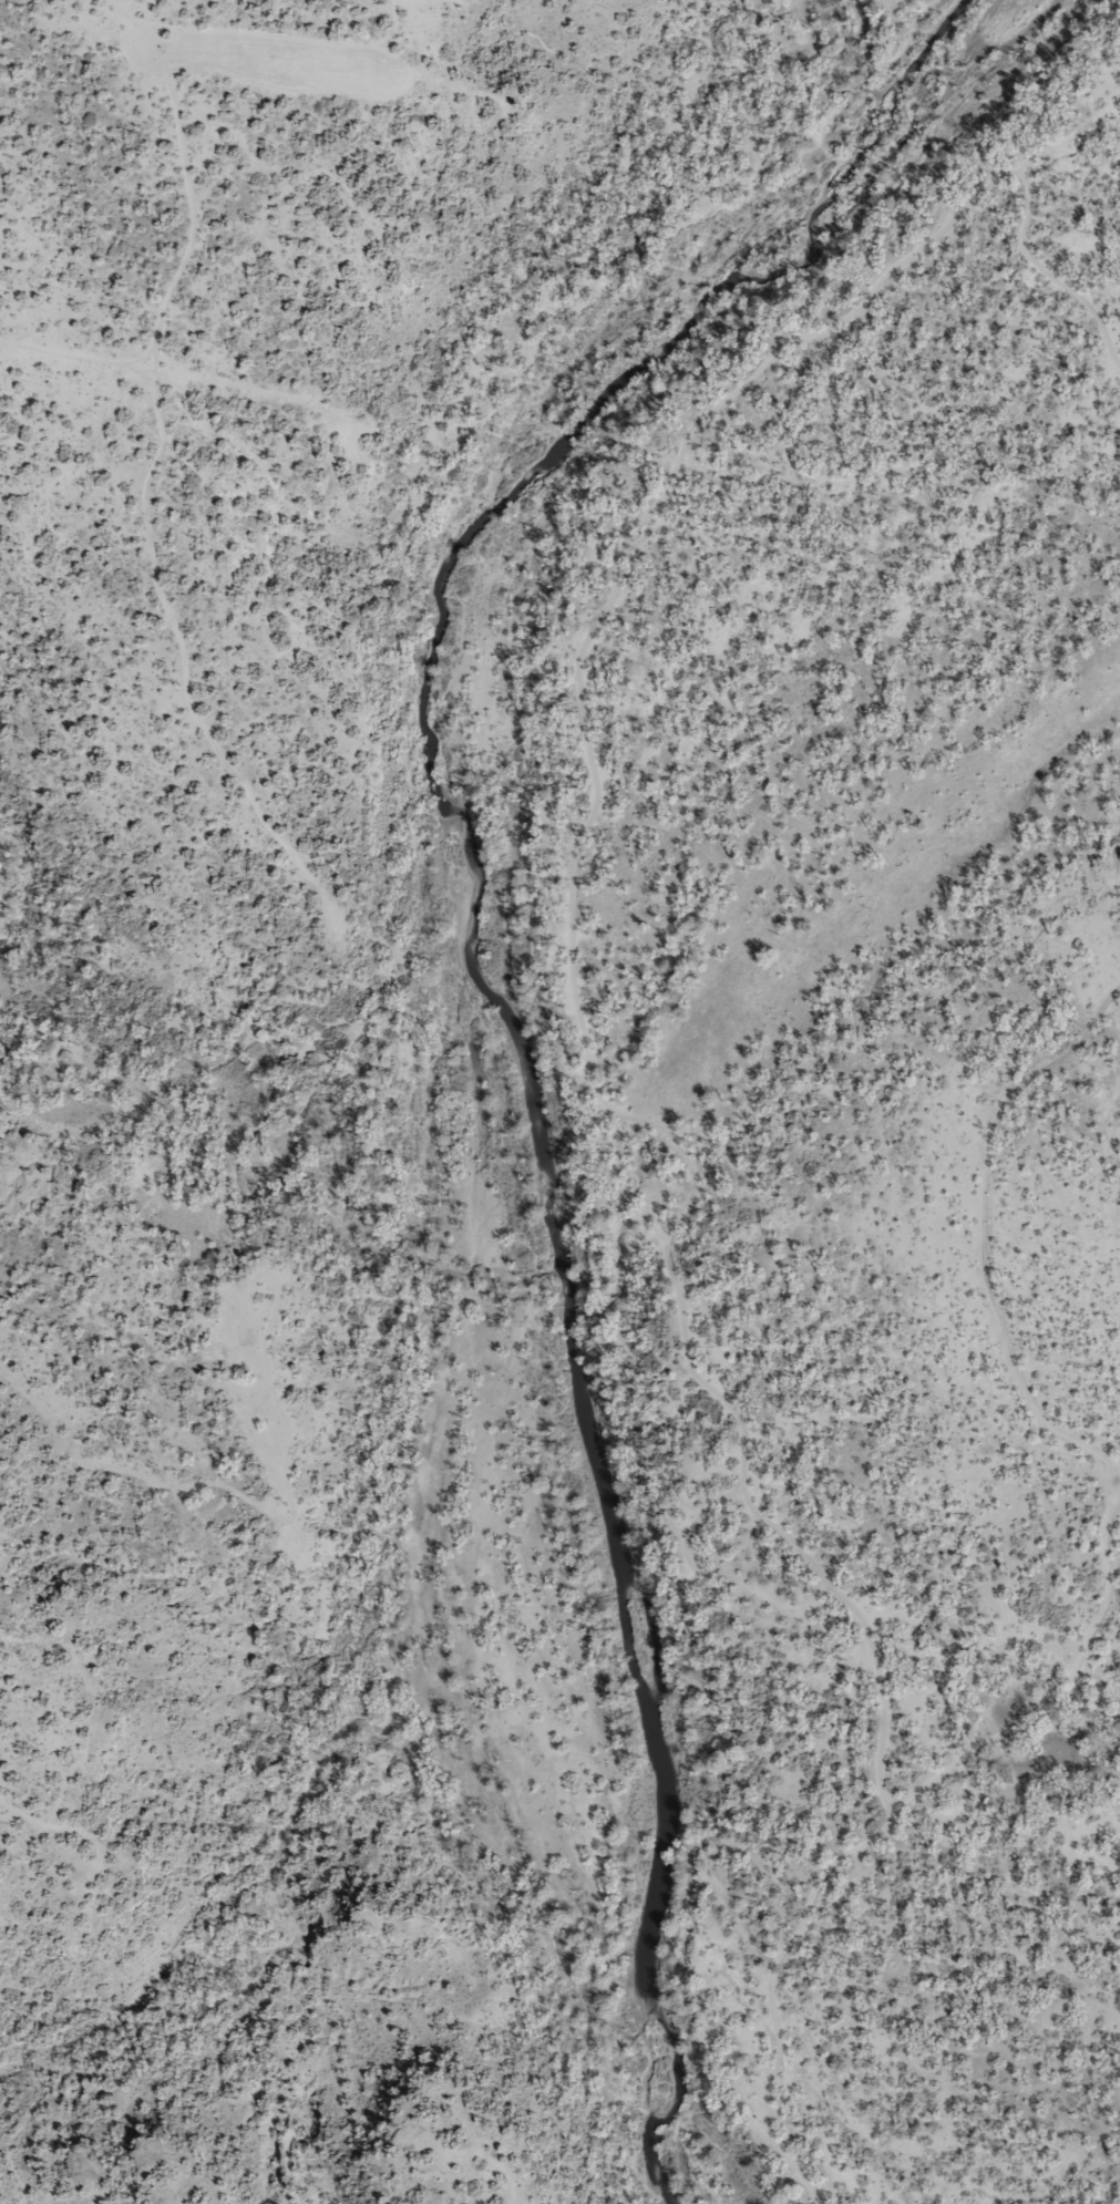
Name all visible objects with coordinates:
river: (495, 1007)
road: (953, 1274)

